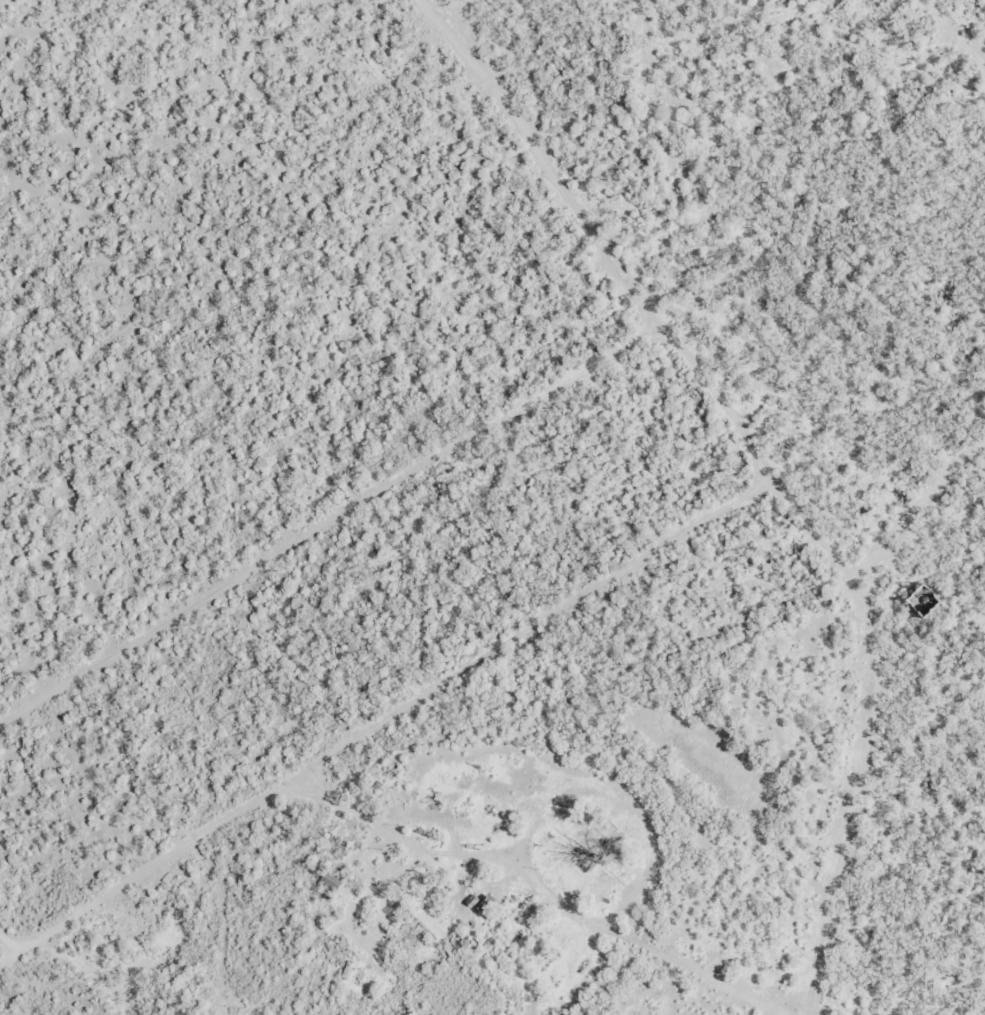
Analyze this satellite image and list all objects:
road: (871, 731)
building: (399, 802)
building: (578, 849)
road: (662, 974)

